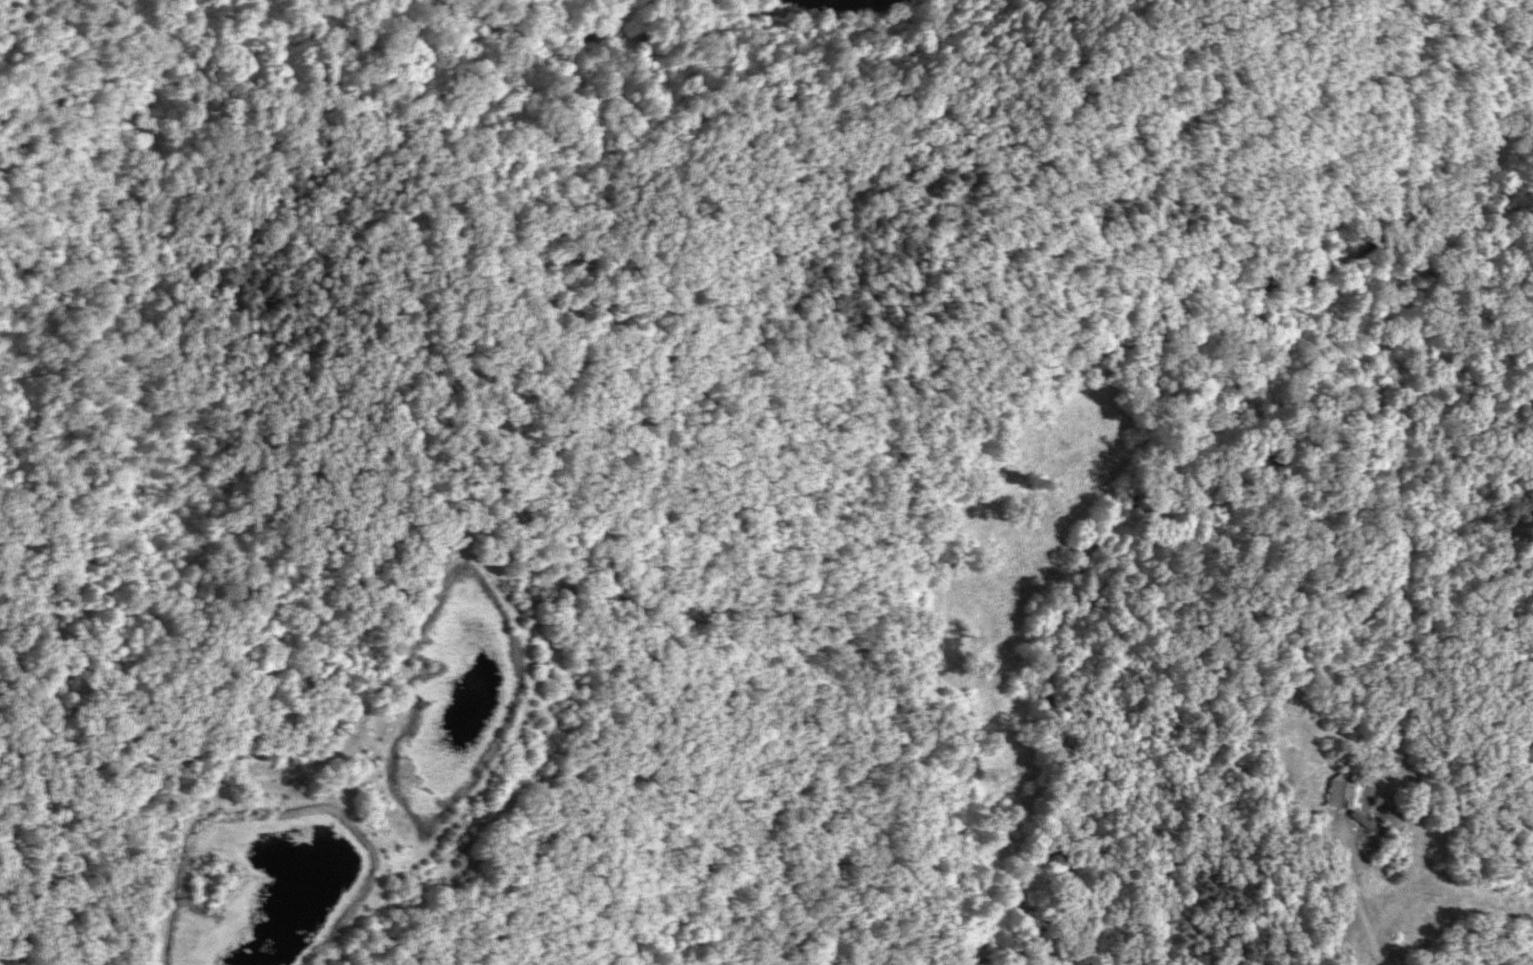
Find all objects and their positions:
road: (1363, 899)

